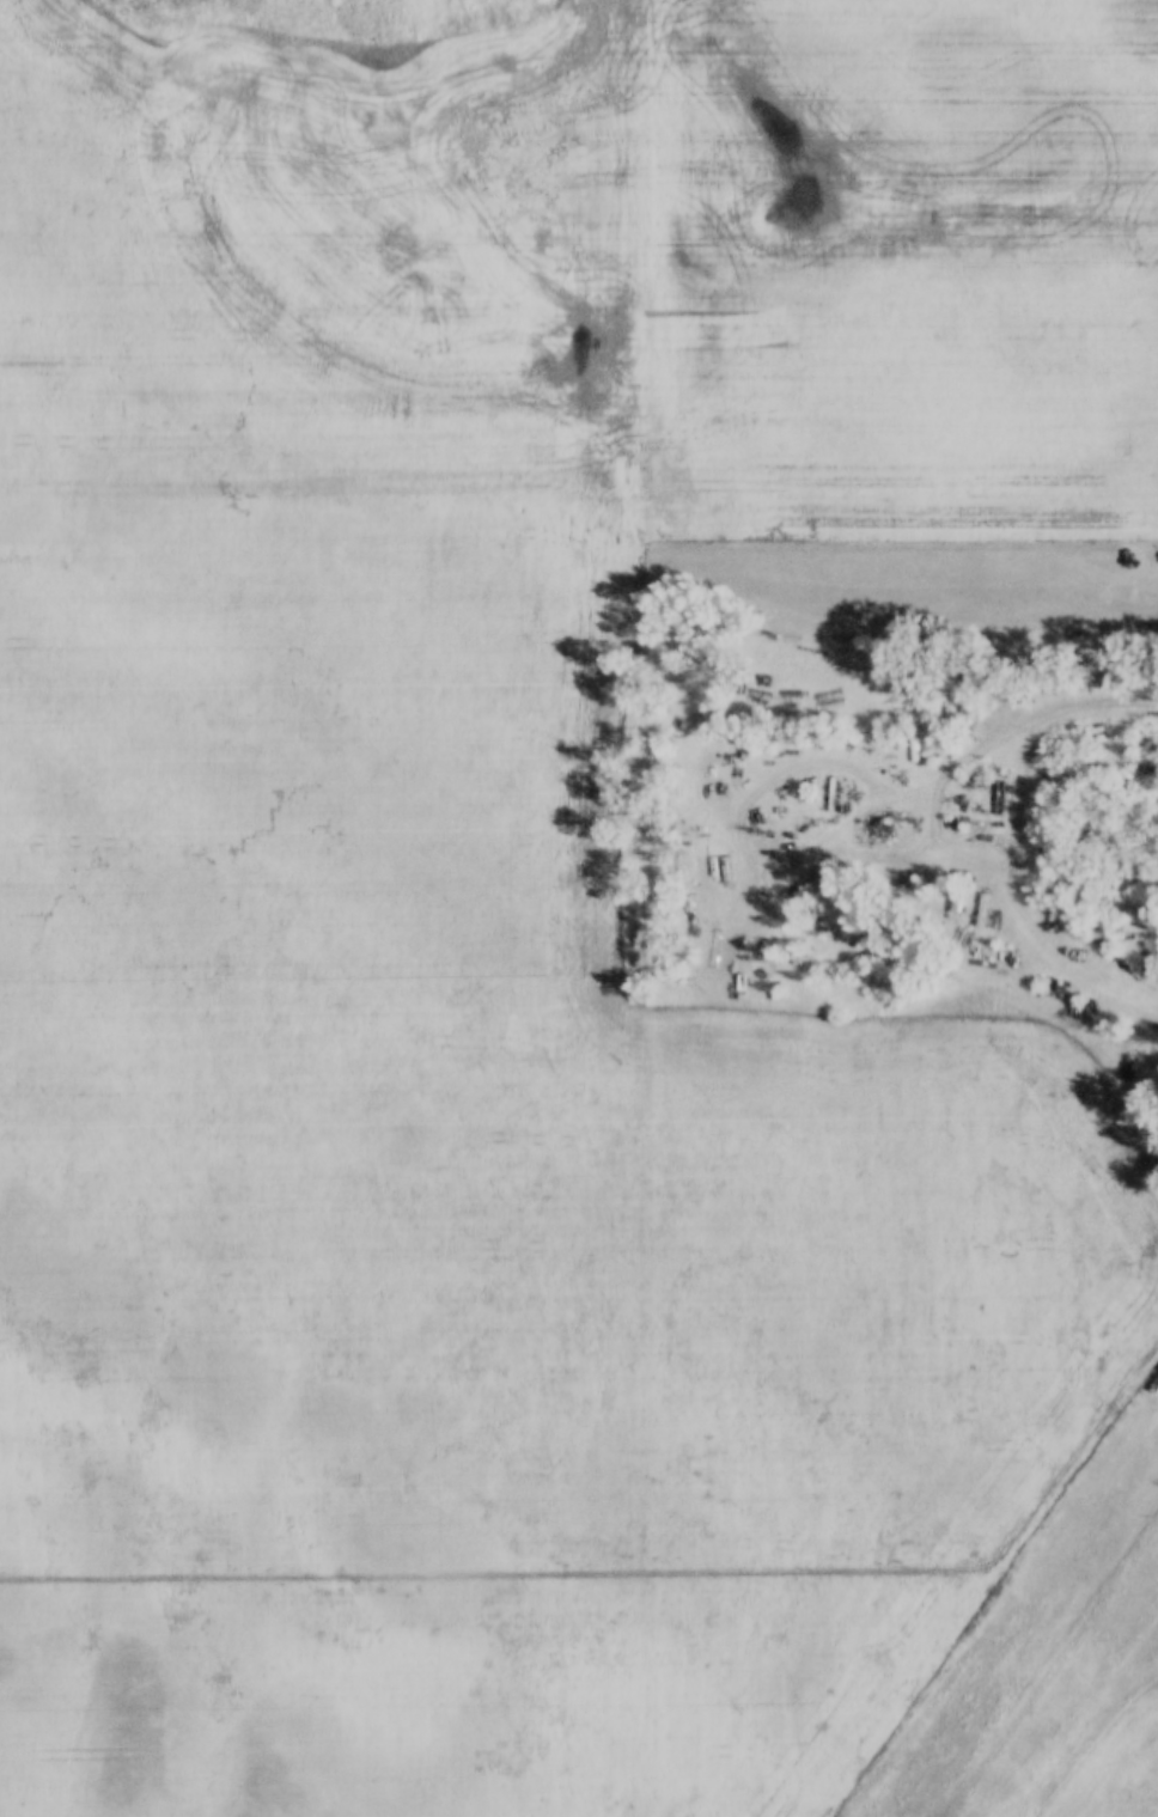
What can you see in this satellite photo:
building: (1150, 598)

